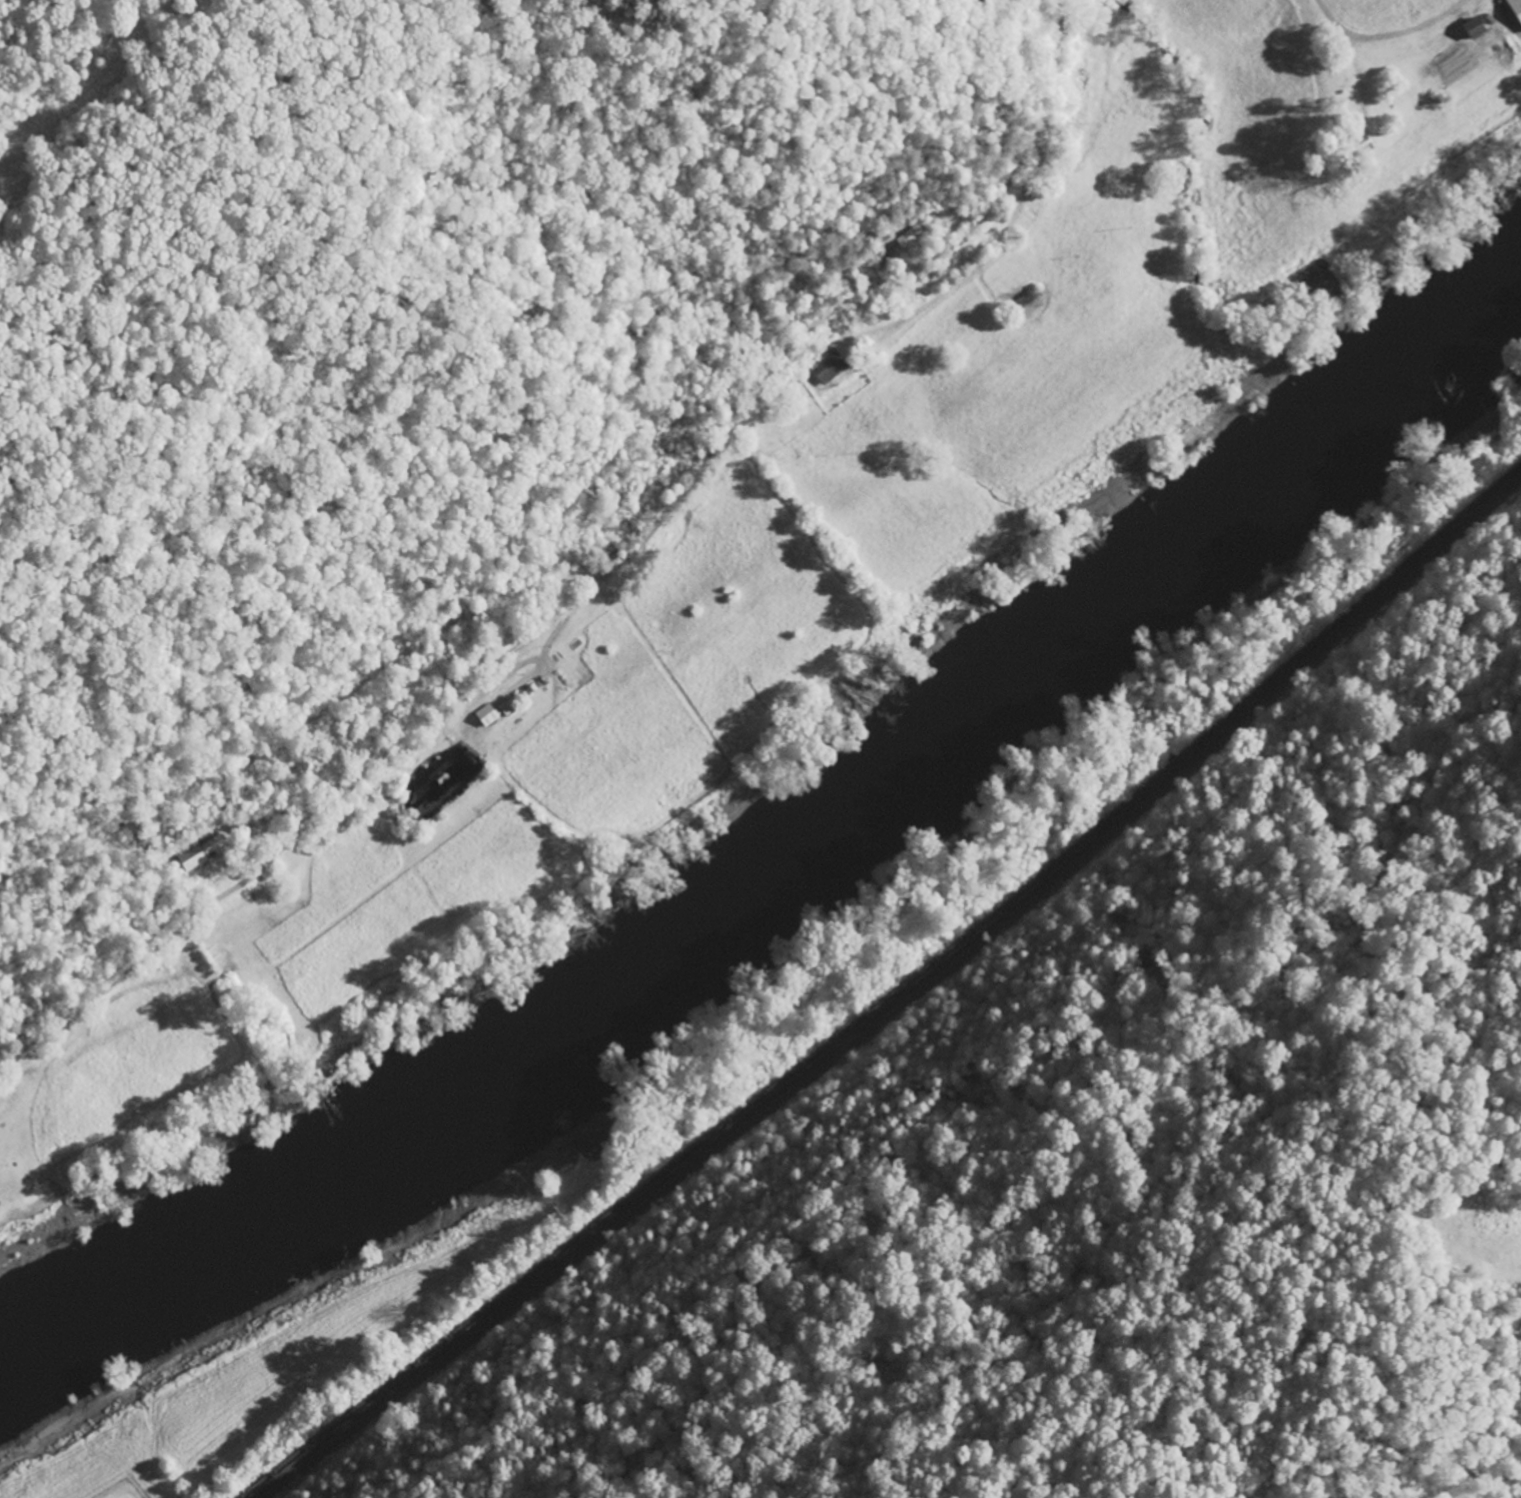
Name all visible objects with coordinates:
building: (1514, 11)
building: (1469, 28)
road: (1045, 166)
river: (786, 844)
railway: (899, 998)

